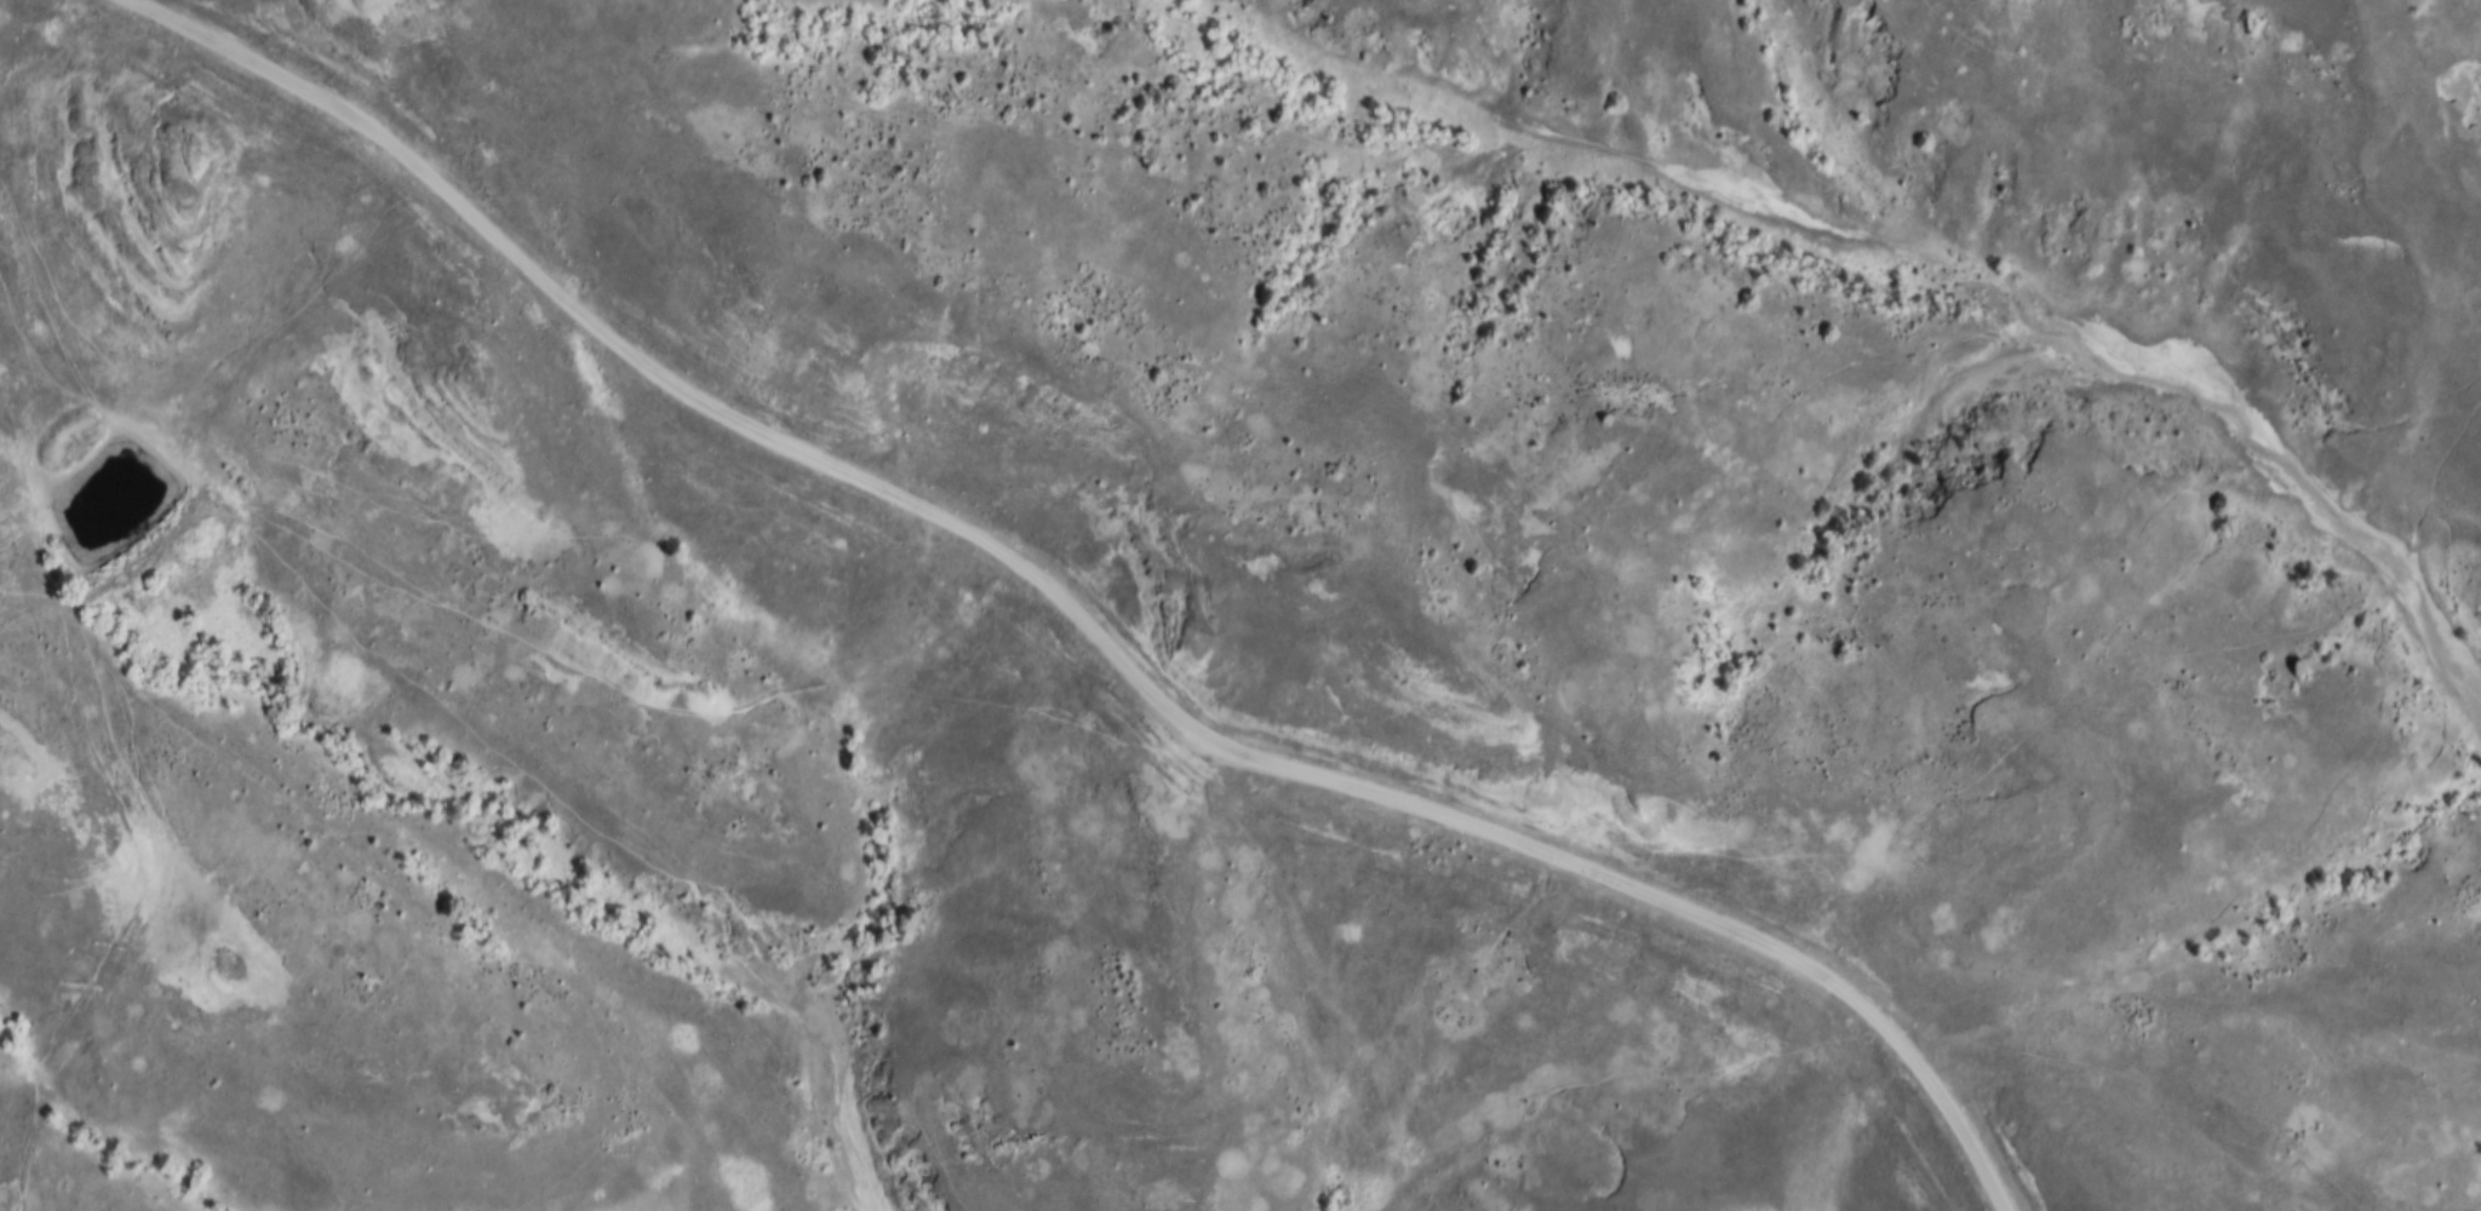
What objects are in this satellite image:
road: (1073, 615)

